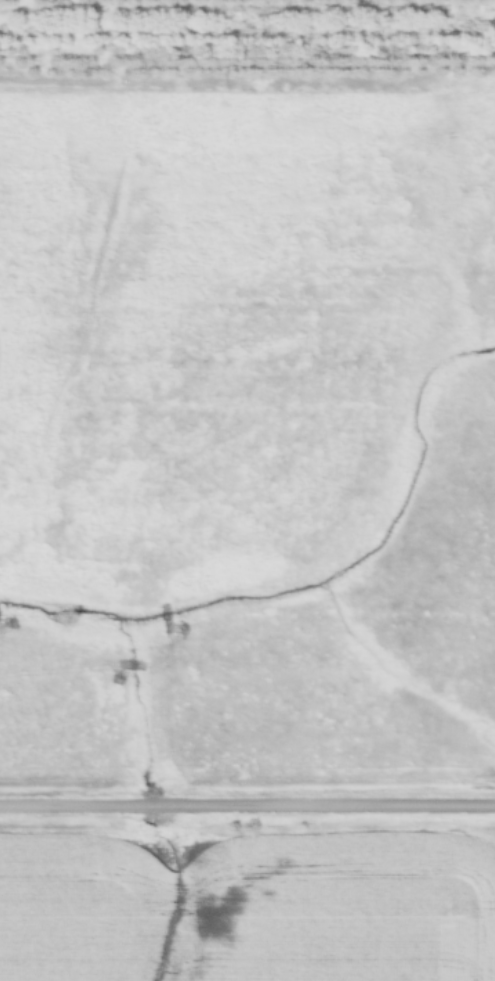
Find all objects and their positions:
road: (247, 810)

